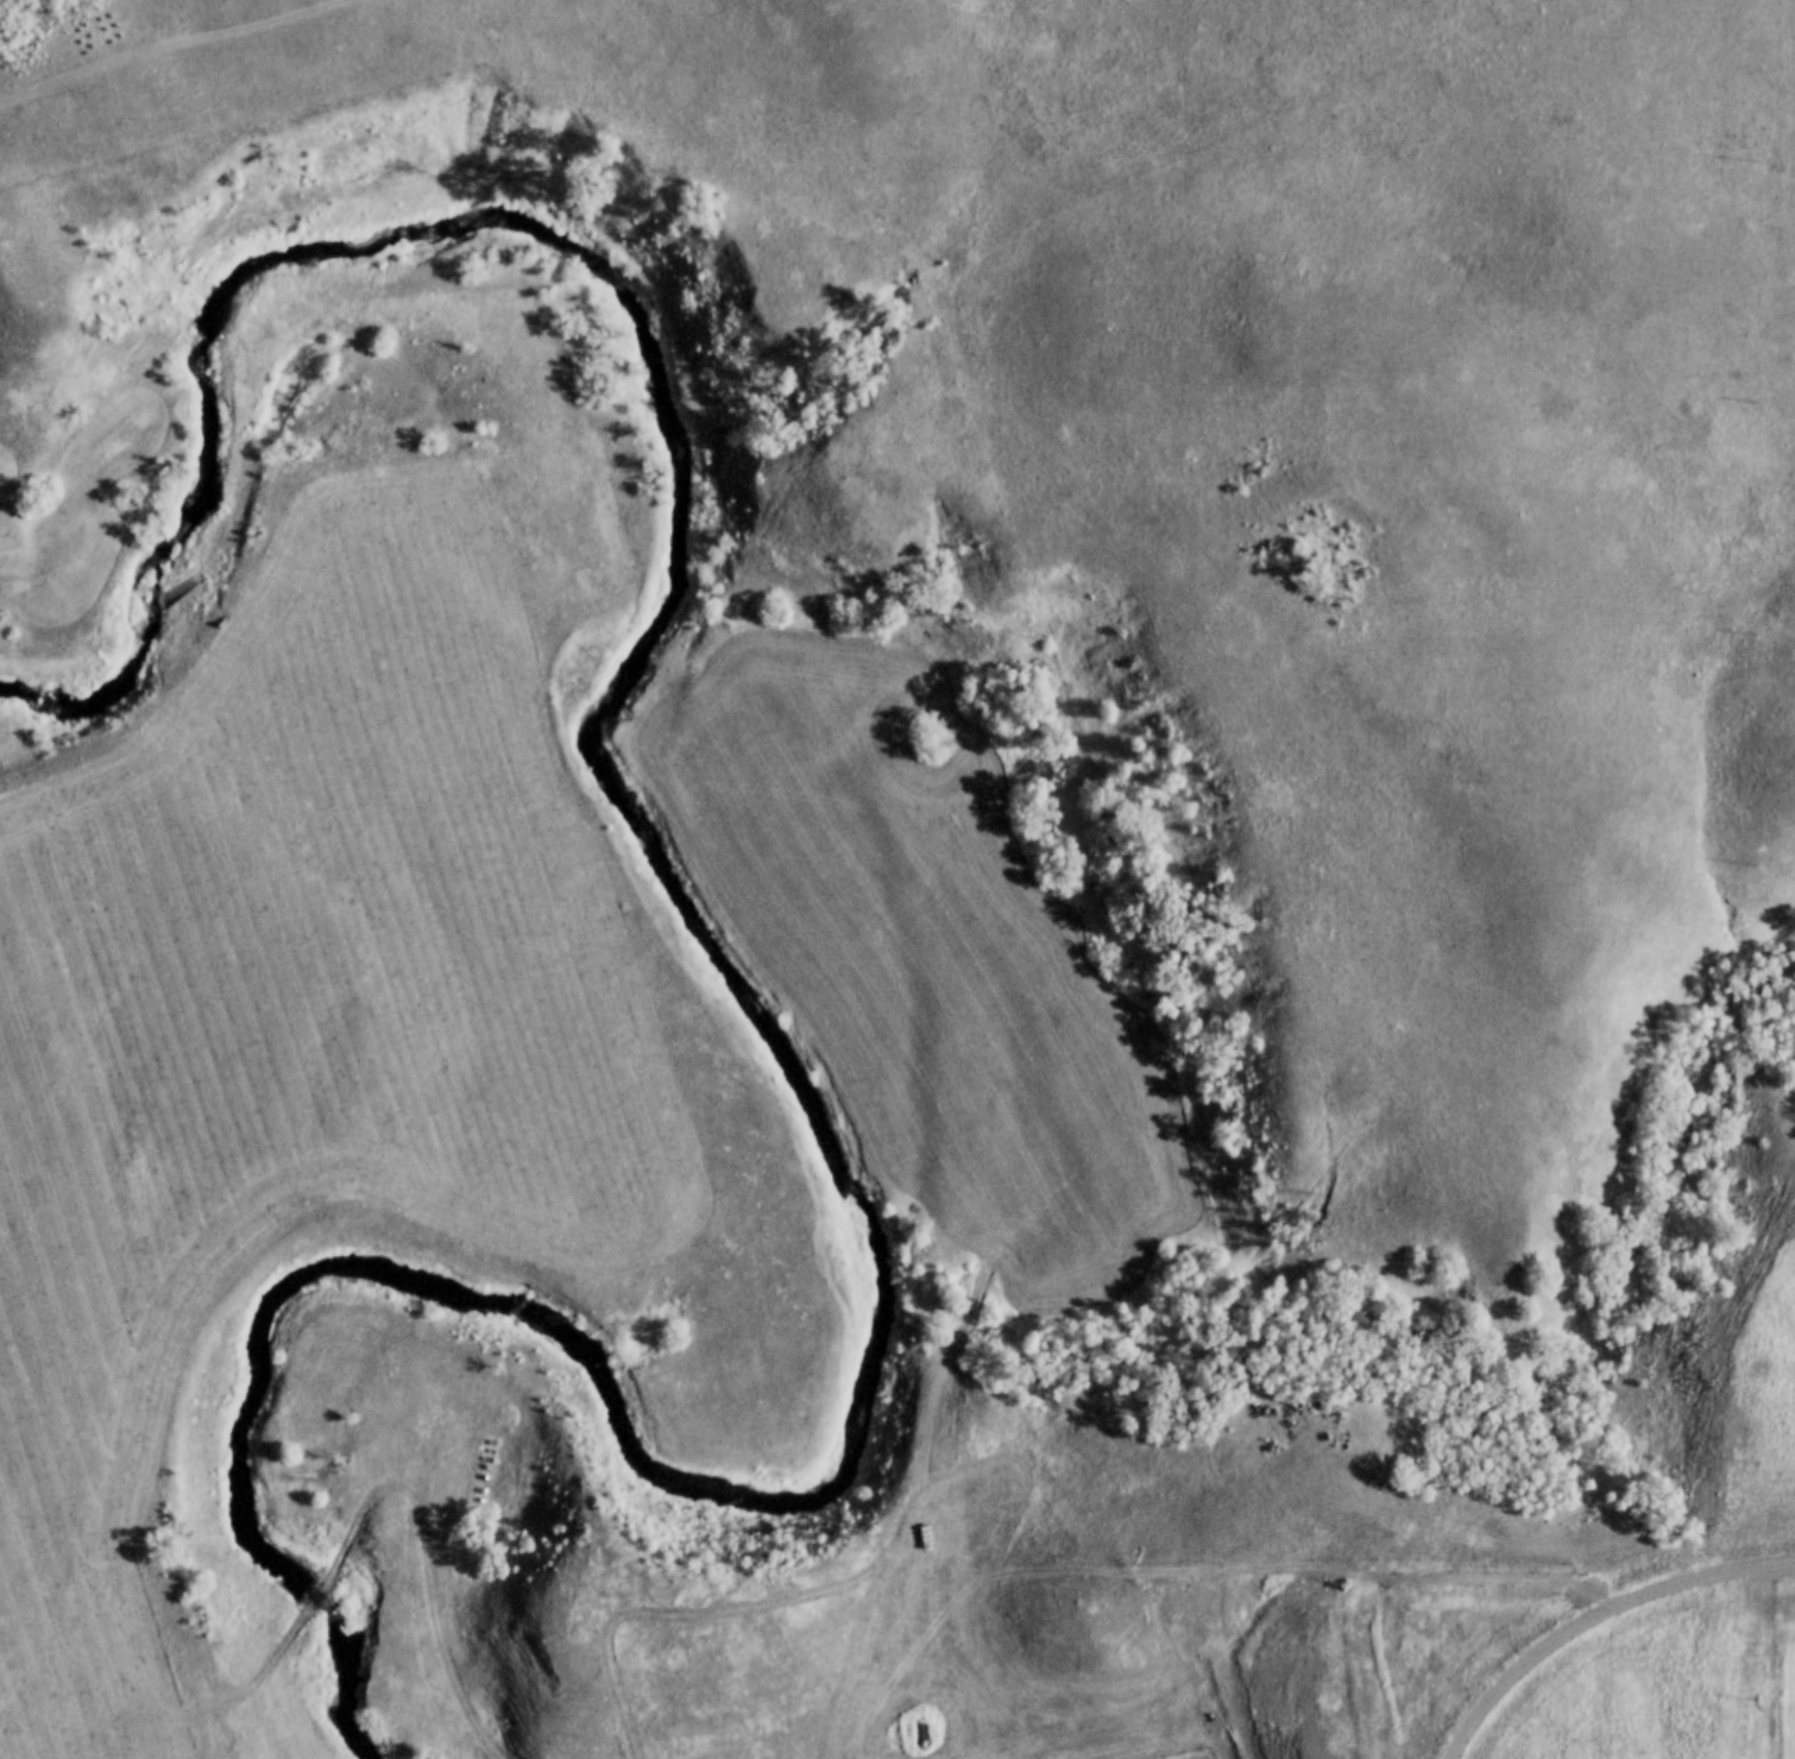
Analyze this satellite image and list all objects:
road: (1598, 1616)
building: (1743, 1660)
building: (1640, 1696)
building: (1743, 1722)

